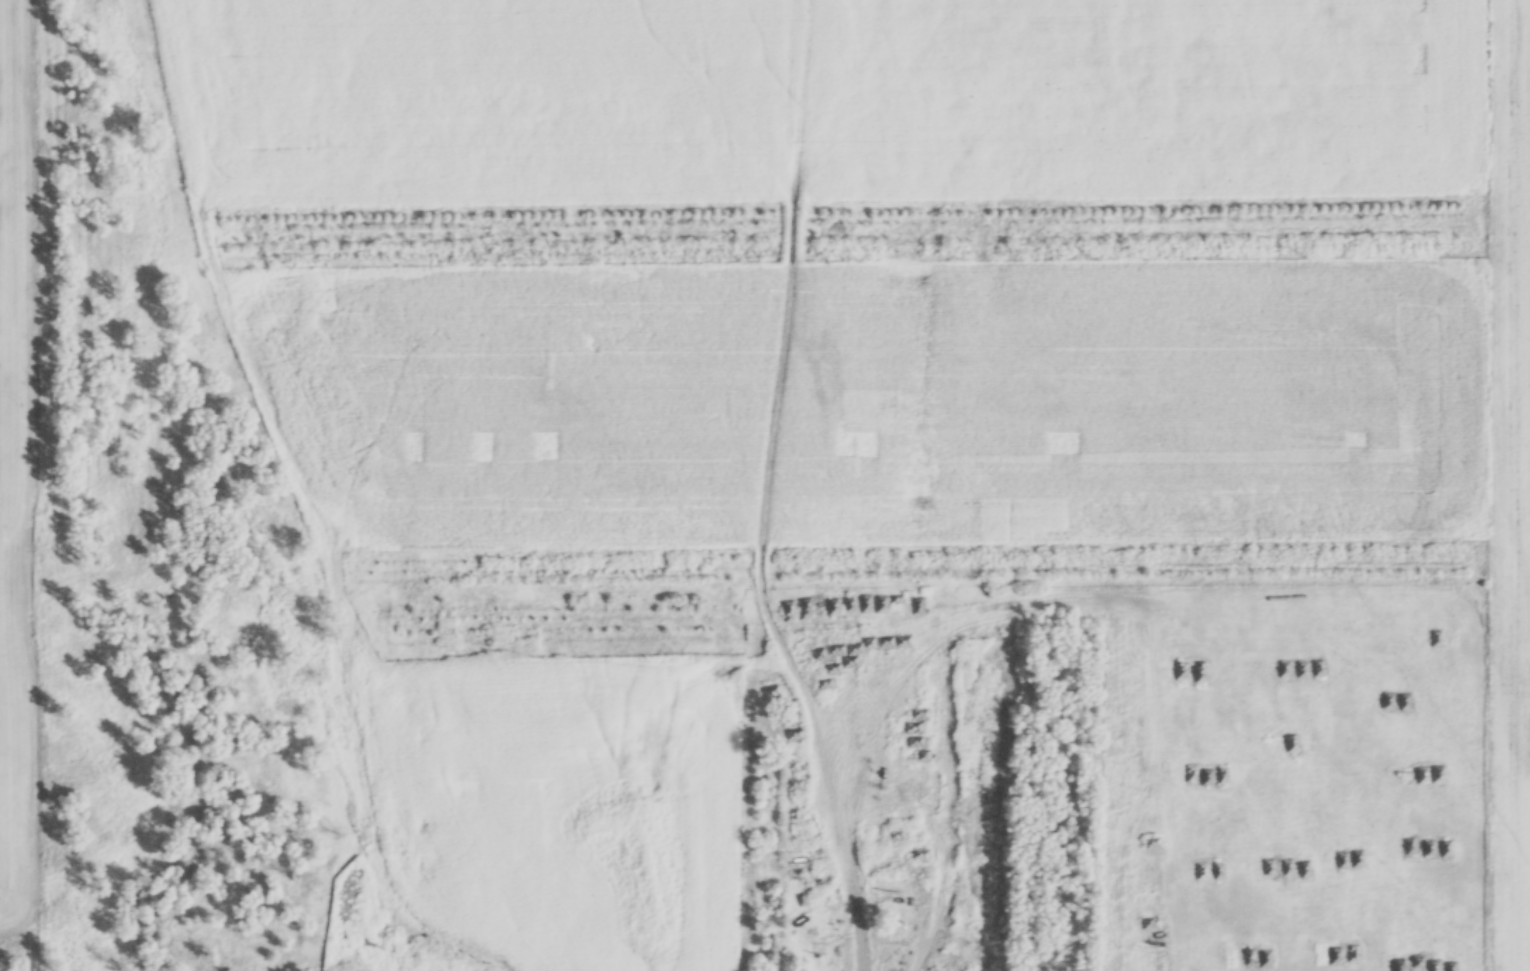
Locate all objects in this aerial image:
building: (1163, 687)

